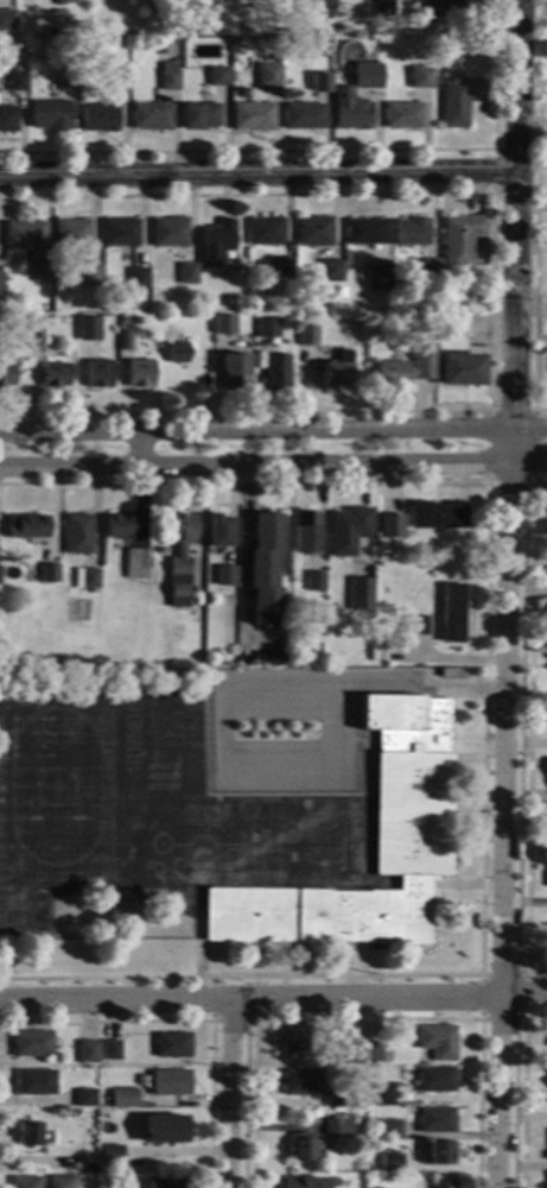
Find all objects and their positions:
building: (62, 1)
building: (325, 4)
building: (468, 4)
building: (433, 7)
building: (383, 8)
building: (7, 26)
building: (312, 31)
building: (312, 43)
building: (217, 76)
building: (267, 76)
building: (365, 76)
building: (167, 77)
building: (65, 78)
building: (420, 78)
building: (116, 81)
building: (15, 82)
building: (319, 82)
building: (459, 101)
building: (349, 110)
building: (49, 115)
building: (402, 115)
building: (150, 116)
building: (198, 116)
building: (304, 116)
building: (97, 118)
building: (252, 118)
building: (7, 119)
road: (322, 151)
road: (256, 175)
road: (492, 192)
road: (535, 213)
building: (266, 232)
building: (314, 232)
building: (365, 232)
building: (413, 232)
building: (70, 233)
building: (119, 233)
building: (168, 233)
building: (24, 234)
building: (462, 239)
building: (216, 242)
building: (286, 267)
building: (431, 270)
building: (331, 271)
building: (0, 272)
building: (40, 272)
building: (187, 274)
building: (88, 276)
building: (138, 278)
building: (379, 278)
building: (0, 286)
road: (491, 301)
building: (450, 302)
building: (303, 317)
building: (136, 322)
building: (31, 323)
building: (223, 326)
building: (266, 328)
building: (87, 329)
building: (306, 336)
building: (33, 337)
building: (123, 341)
building: (176, 353)
building: (405, 371)
building: (460, 371)
building: (275, 372)
building: (234, 373)
building: (336, 373)
building: (97, 374)
building: (139, 374)
building: (5, 375)
building: (53, 375)
road: (489, 412)
road: (273, 434)
road: (133, 449)
road: (273, 462)
building: (438, 517)
building: (28, 526)
building: (119, 526)
building: (390, 527)
building: (217, 530)
building: (348, 531)
building: (305, 532)
building: (78, 535)
building: (161, 551)
building: (180, 557)
road: (286, 560)
building: (136, 565)
building: (263, 569)
building: (50, 573)
road: (240, 573)
building: (224, 575)
building: (297, 577)
building: (88, 580)
building: (313, 581)
road: (529, 586)
road: (511, 593)
building: (358, 594)
building: (452, 613)
building: (416, 626)
building: (401, 631)
building: (205, 636)
building: (196, 646)
building: (278, 657)
building: (444, 674)
road: (228, 689)
road: (485, 723)
road: (528, 729)
road: (468, 748)
building: (413, 835)
road: (375, 846)
road: (457, 884)
road: (199, 948)
road: (356, 960)
road: (273, 999)
road: (523, 1016)
road: (369, 1019)
road: (189, 1022)
road: (233, 1022)
building: (443, 1043)
building: (32, 1044)
building: (293, 1044)
building: (172, 1045)
building: (88, 1053)
building: (110, 1053)
building: (380, 1053)
building: (357, 1054)
building: (435, 1079)
building: (34, 1082)
building: (170, 1082)
building: (301, 1082)
road: (522, 1091)
road: (234, 1094)
building: (389, 1095)
building: (345, 1097)
building: (85, 1098)
building: (123, 1098)
building: (437, 1120)
building: (337, 1129)
building: (164, 1130)
building: (389, 1130)
building: (27, 1135)
building: (303, 1149)
building: (440, 1154)
building: (110, 1156)
building: (76, 1162)
building: (392, 1163)
building: (26, 1182)
building: (444, 1182)
building: (303, 1183)
building: (161, 1184)

